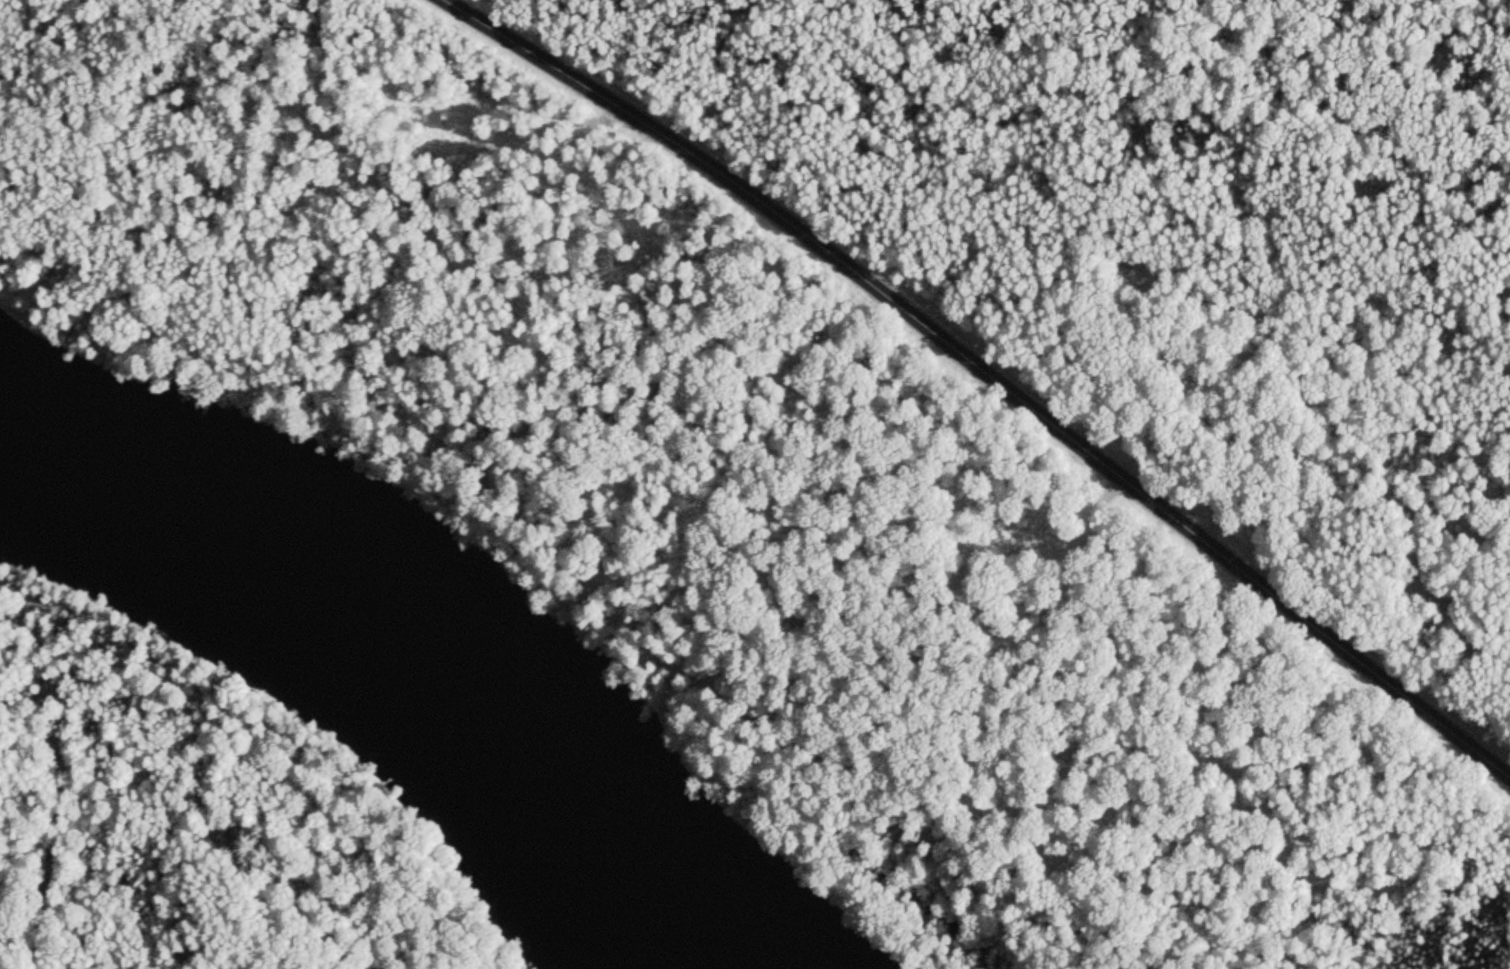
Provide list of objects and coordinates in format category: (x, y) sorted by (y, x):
road: (990, 372)
park: (844, 432)
river: (379, 706)
road: (66, 821)
park: (190, 825)

